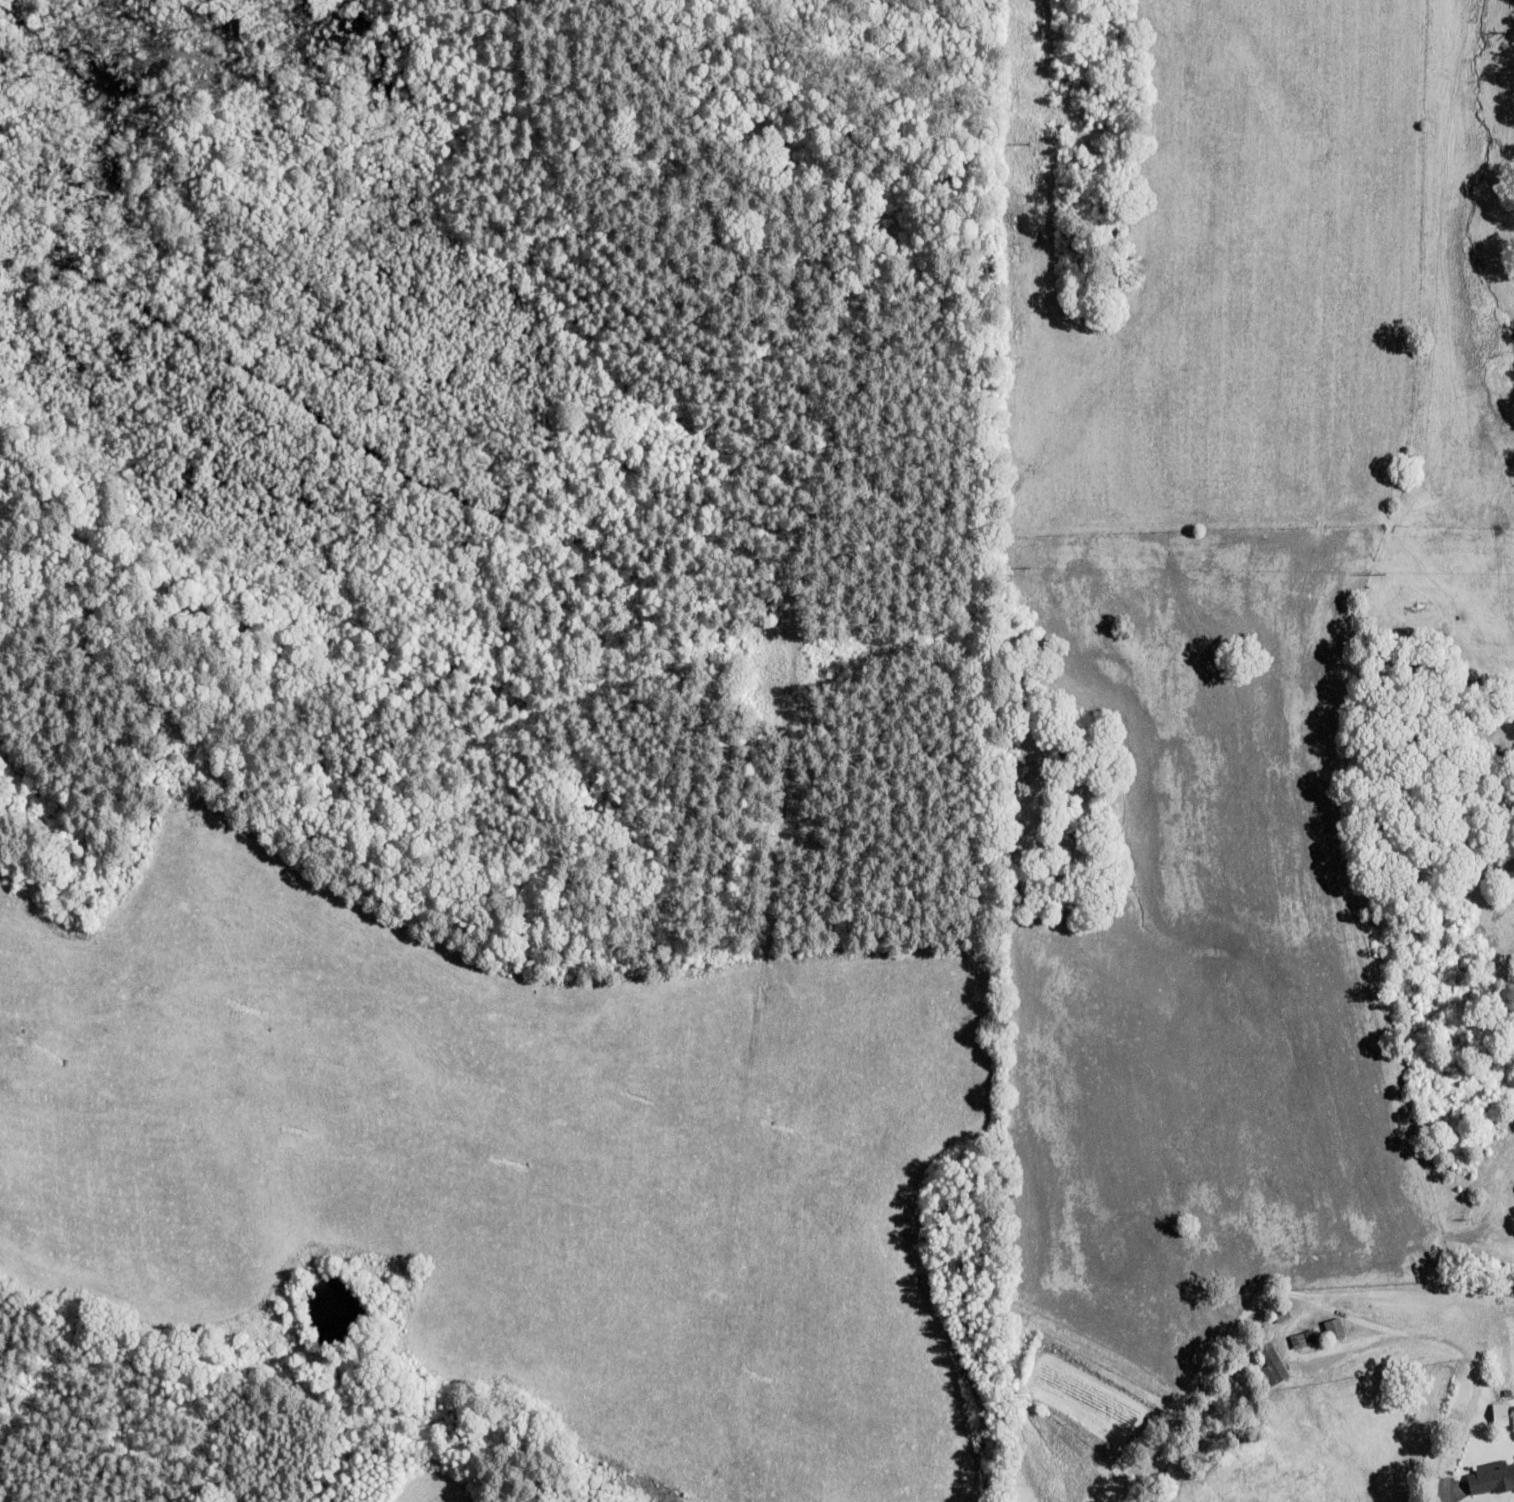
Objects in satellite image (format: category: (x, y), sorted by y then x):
building: (1332, 1328)
building: (1303, 1338)
building: (1268, 1362)
building: (1498, 1414)
building: (1490, 1476)
road: (1443, 1492)

